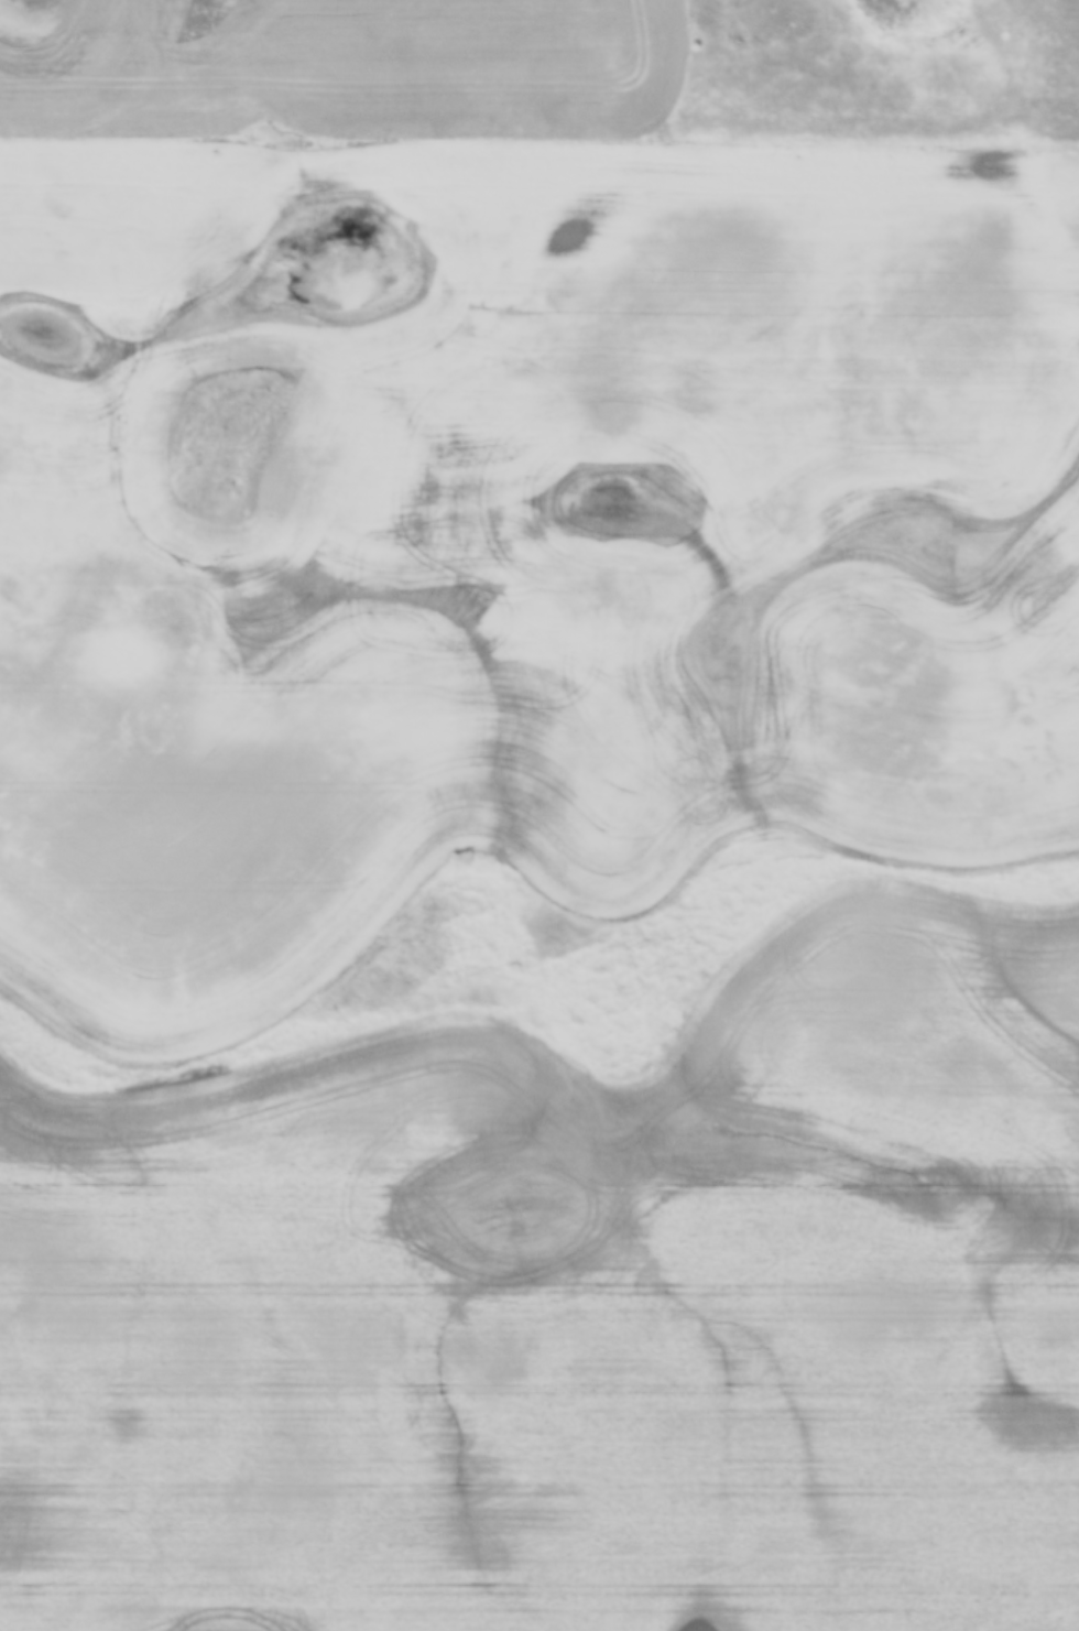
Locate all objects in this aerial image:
road: (390, 138)

